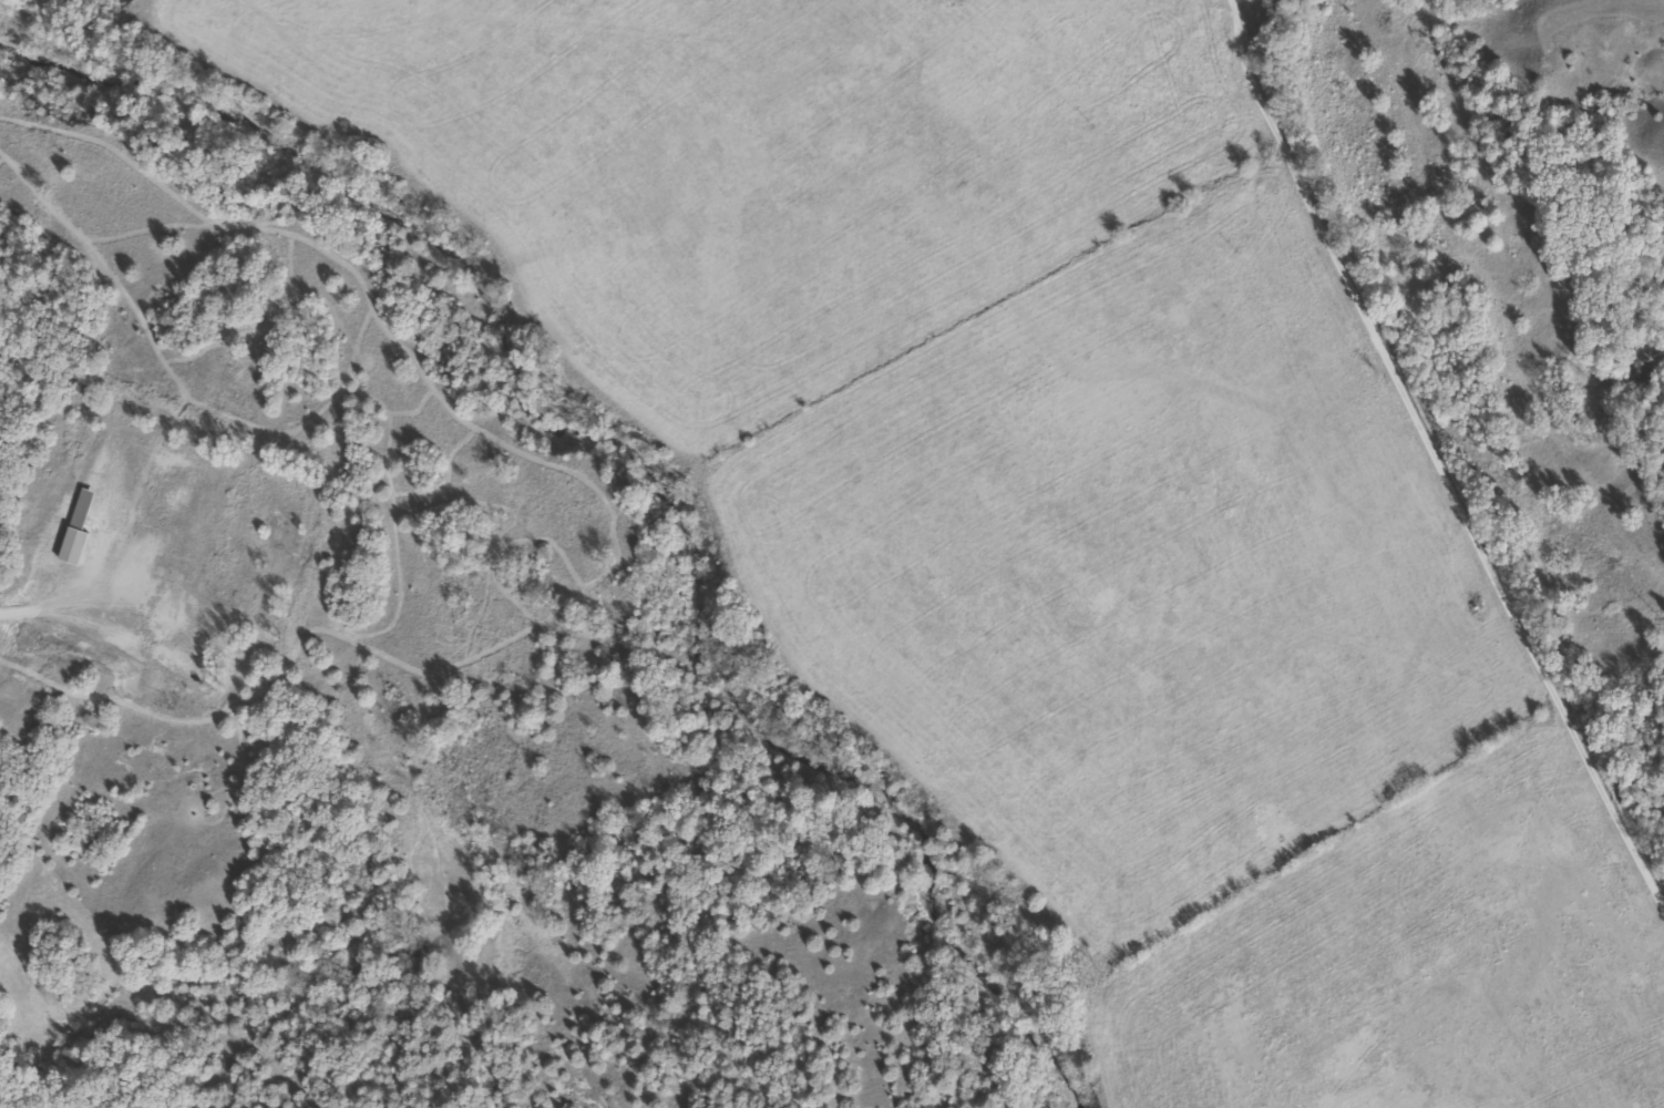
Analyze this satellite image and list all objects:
road: (1431, 455)
building: (0, 517)

